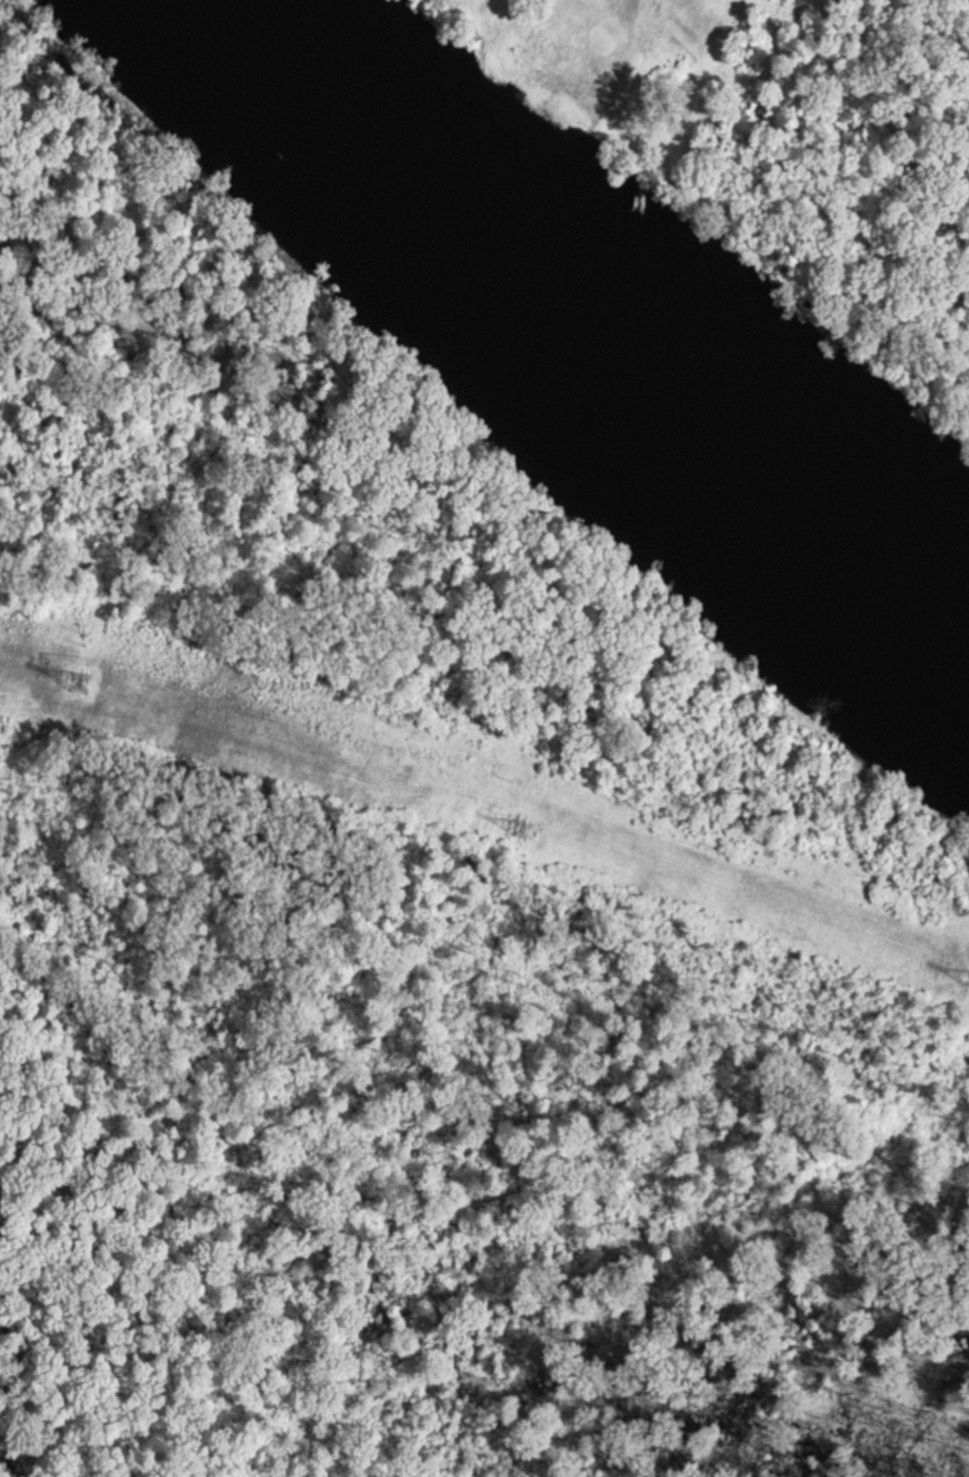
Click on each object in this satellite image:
road: (612, 20)
road: (562, 94)
park: (776, 150)
river: (568, 339)
road: (475, 523)
power tower: (80, 683)
power tower: (520, 828)

